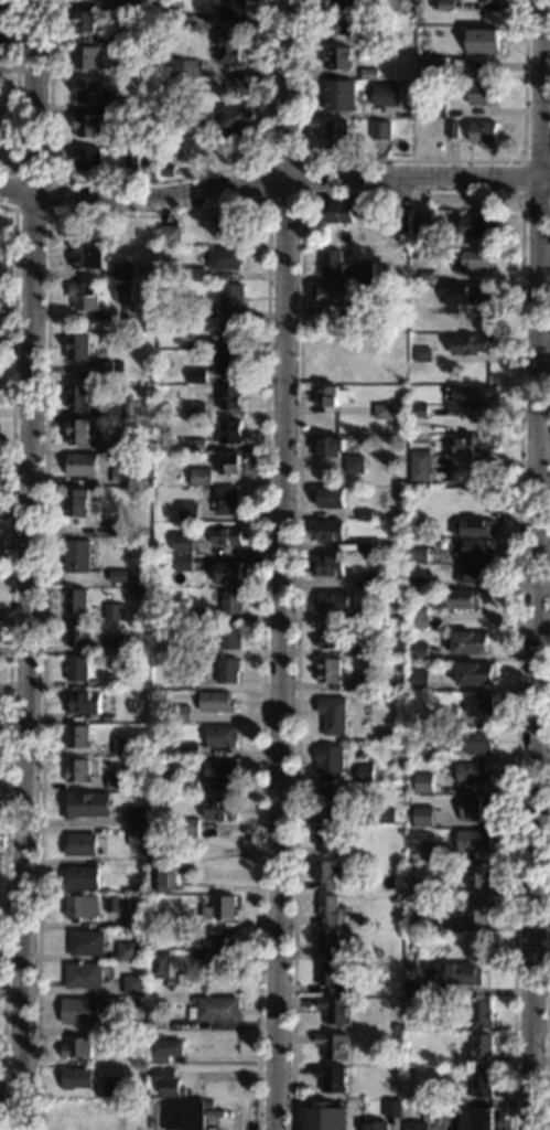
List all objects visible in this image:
building: (103, 0)
building: (339, 0)
building: (489, 0)
building: (444, 6)
road: (83, 8)
building: (230, 9)
building: (357, 14)
building: (171, 18)
building: (85, 23)
building: (341, 24)
building: (130, 34)
building: (149, 34)
building: (374, 39)
building: (484, 40)
building: (229, 47)
building: (86, 57)
building: (338, 57)
building: (423, 65)
building: (436, 65)
building: (173, 67)
building: (123, 72)
building: (368, 73)
building: (408, 83)
building: (87, 90)
building: (482, 93)
road: (15, 95)
building: (338, 95)
building: (387, 95)
building: (123, 104)
building: (436, 107)
building: (235, 116)
building: (86, 124)
building: (161, 128)
building: (204, 128)
building: (380, 130)
building: (453, 130)
building: (483, 132)
building: (335, 134)
building: (122, 139)
building: (182, 146)
building: (131, 157)
building: (86, 159)
road: (302, 160)
road: (414, 161)
road: (547, 166)
building: (168, 170)
road: (270, 179)
road: (522, 179)
road: (152, 182)
road: (411, 193)
building: (335, 212)
road: (47, 213)
road: (168, 214)
building: (231, 223)
building: (400, 223)
building: (421, 224)
building: (474, 224)
building: (170, 235)
building: (405, 255)
building: (442, 255)
building: (88, 257)
building: (226, 258)
building: (471, 260)
building: (332, 263)
building: (123, 271)
building: (194, 274)
building: (364, 276)
building: (427, 276)
building: (368, 286)
building: (123, 292)
building: (333, 294)
building: (84, 296)
building: (470, 296)
building: (231, 298)
building: (365, 308)
building: (201, 311)
building: (231, 332)
building: (196, 343)
building: (472, 344)
building: (77, 347)
building: (422, 355)
building: (330, 360)
building: (228, 363)
building: (103, 366)
building: (118, 366)
building: (197, 376)
building: (367, 377)
building: (326, 396)
building: (473, 396)
building: (78, 397)
building: (230, 397)
building: (119, 406)
building: (138, 411)
building: (196, 411)
building: (419, 411)
building: (384, 412)
building: (77, 431)
building: (230, 433)
building: (128, 441)
building: (196, 445)
building: (330, 448)
building: (473, 448)
building: (203, 463)
building: (82, 465)
building: (229, 465)
building: (355, 465)
building: (421, 467)
building: (120, 476)
building: (201, 477)
building: (451, 481)
building: (330, 497)
building: (227, 501)
building: (75, 502)
building: (190, 512)
building: (366, 515)
building: (454, 516)
building: (475, 527)
building: (117, 529)
building: (328, 530)
building: (227, 535)
building: (183, 543)
building: (369, 546)
building: (477, 548)
building: (419, 555)
building: (76, 556)
building: (184, 563)
road: (31, 564)
road: (284, 564)
road: (538, 564)
building: (328, 565)
building: (231, 573)
building: (474, 574)
building: (120, 576)
building: (377, 579)
building: (420, 584)
building: (462, 599)
building: (75, 600)
building: (233, 601)
building: (332, 601)
building: (114, 611)
building: (371, 612)
building: (202, 616)
building: (418, 618)
building: (77, 635)
building: (227, 636)
building: (330, 637)
building: (134, 641)
building: (468, 642)
building: (117, 646)
building: (366, 647)
building: (197, 649)
building: (418, 650)
road: (9, 663)
building: (77, 669)
building: (228, 670)
building: (328, 671)
building: (474, 673)
building: (418, 680)
building: (185, 681)
building: (114, 682)
building: (366, 682)
building: (94, 684)
building: (83, 702)
building: (217, 702)
building: (482, 705)
building: (182, 714)
building: (333, 715)
building: (449, 717)
building: (108, 718)
building: (411, 735)
building: (77, 736)
building: (223, 736)
building: (476, 743)
building: (122, 746)
building: (190, 750)
building: (330, 759)
building: (77, 770)
building: (220, 770)
building: (365, 772)
building: (473, 774)
building: (117, 781)
building: (423, 783)
building: (188, 785)
building: (330, 800)
building: (87, 806)
building: (475, 808)
building: (219, 809)
building: (138, 815)
building: (422, 815)
building: (385, 817)
building: (190, 827)
building: (401, 830)
building: (137, 836)
building: (325, 840)
building: (474, 841)
building: (82, 844)
building: (433, 852)
building: (162, 857)
building: (325, 874)
building: (477, 875)
building: (83, 878)
building: (398, 878)
building: (163, 880)
building: (138, 886)
building: (435, 888)
building: (397, 902)
building: (114, 904)
building: (83, 907)
building: (223, 907)
building: (332, 910)
building: (477, 910)
building: (161, 918)
building: (430, 918)
building: (87, 942)
building: (213, 942)
building: (330, 945)
building: (128, 951)
building: (376, 955)
road: (548, 964)
building: (161, 966)
building: (424, 971)
building: (459, 974)
building: (85, 976)
building: (331, 980)
building: (171, 984)
building: (133, 985)
building: (410, 987)
building: (395, 993)
building: (194, 1000)
building: (216, 1010)
building: (80, 1011)
building: (335, 1011)
building: (481, 1015)
building: (159, 1022)
building: (116, 1025)
building: (396, 1027)
building: (333, 1045)
building: (77, 1047)
building: (481, 1049)
building: (165, 1051)
building: (399, 1060)
building: (410, 1072)
building: (332, 1077)
building: (77, 1078)
building: (169, 1081)
building: (482, 1084)
building: (114, 1087)
road: (12, 1091)
building: (425, 1107)
building: (392, 1109)
building: (436, 1112)
building: (184, 1115)
building: (472, 1117)
building: (317, 1118)
building: (376, 1126)
building: (416, 1126)
building: (212, 1129)

